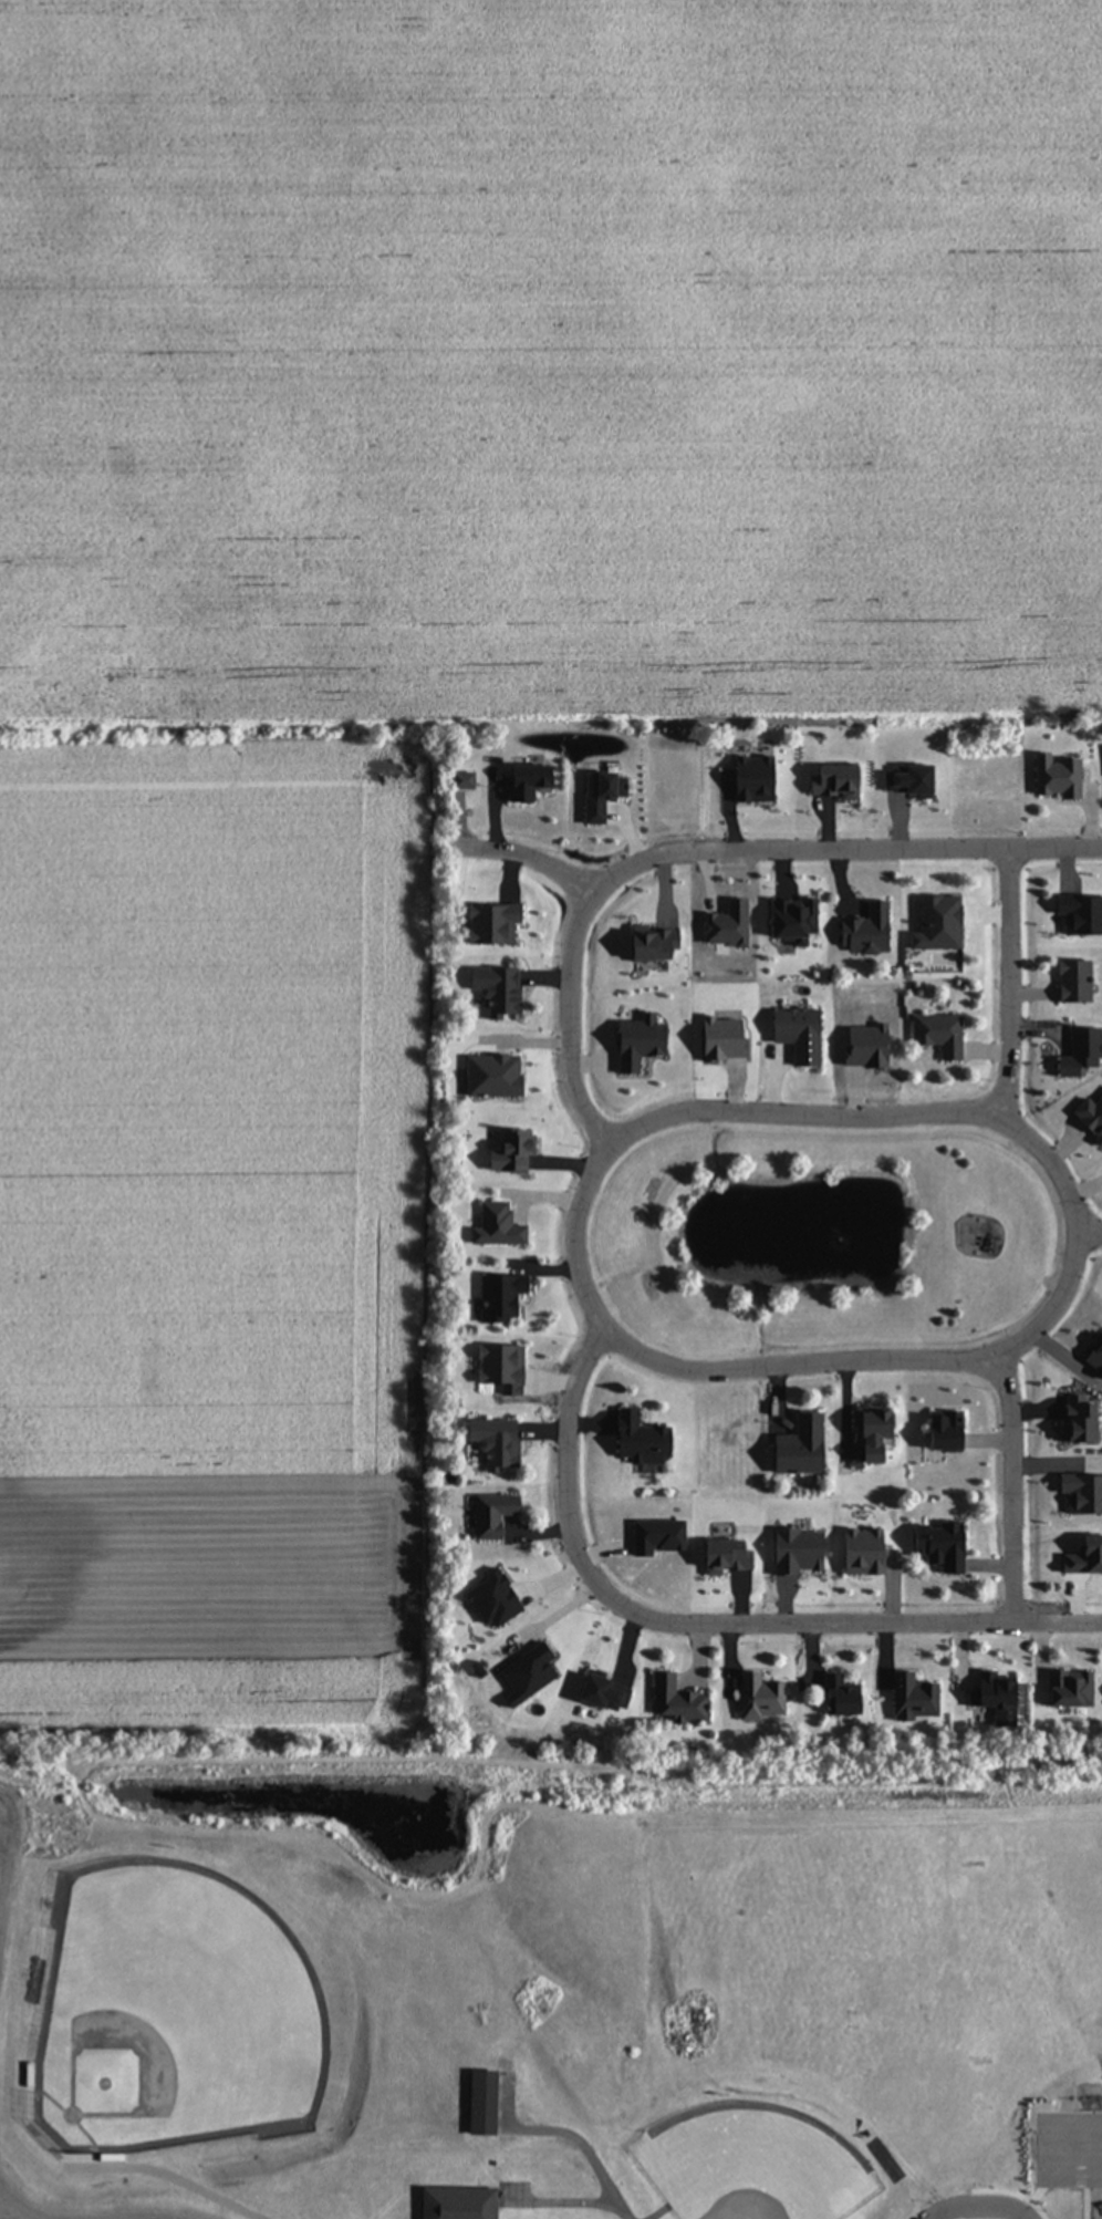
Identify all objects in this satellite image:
building: (1052, 777)
building: (459, 781)
road: (707, 851)
road: (529, 860)
building: (862, 931)
road: (1008, 981)
building: (1069, 982)
building: (492, 989)
building: (794, 1034)
building: (935, 1034)
building: (1078, 1053)
building: (508, 1153)
road: (579, 1209)
building: (493, 1226)
road: (1091, 1233)
building: (498, 1297)
building: (940, 1431)
building: (867, 1437)
building: (637, 1440)
building: (491, 1442)
building: (797, 1447)
road: (1011, 1491)
building: (490, 1514)
building: (936, 1545)
road: (707, 1622)
building: (1065, 1689)
building: (990, 1690)
building: (838, 1697)
building: (758, 1698)
building: (674, 1702)
building: (454, 2202)

